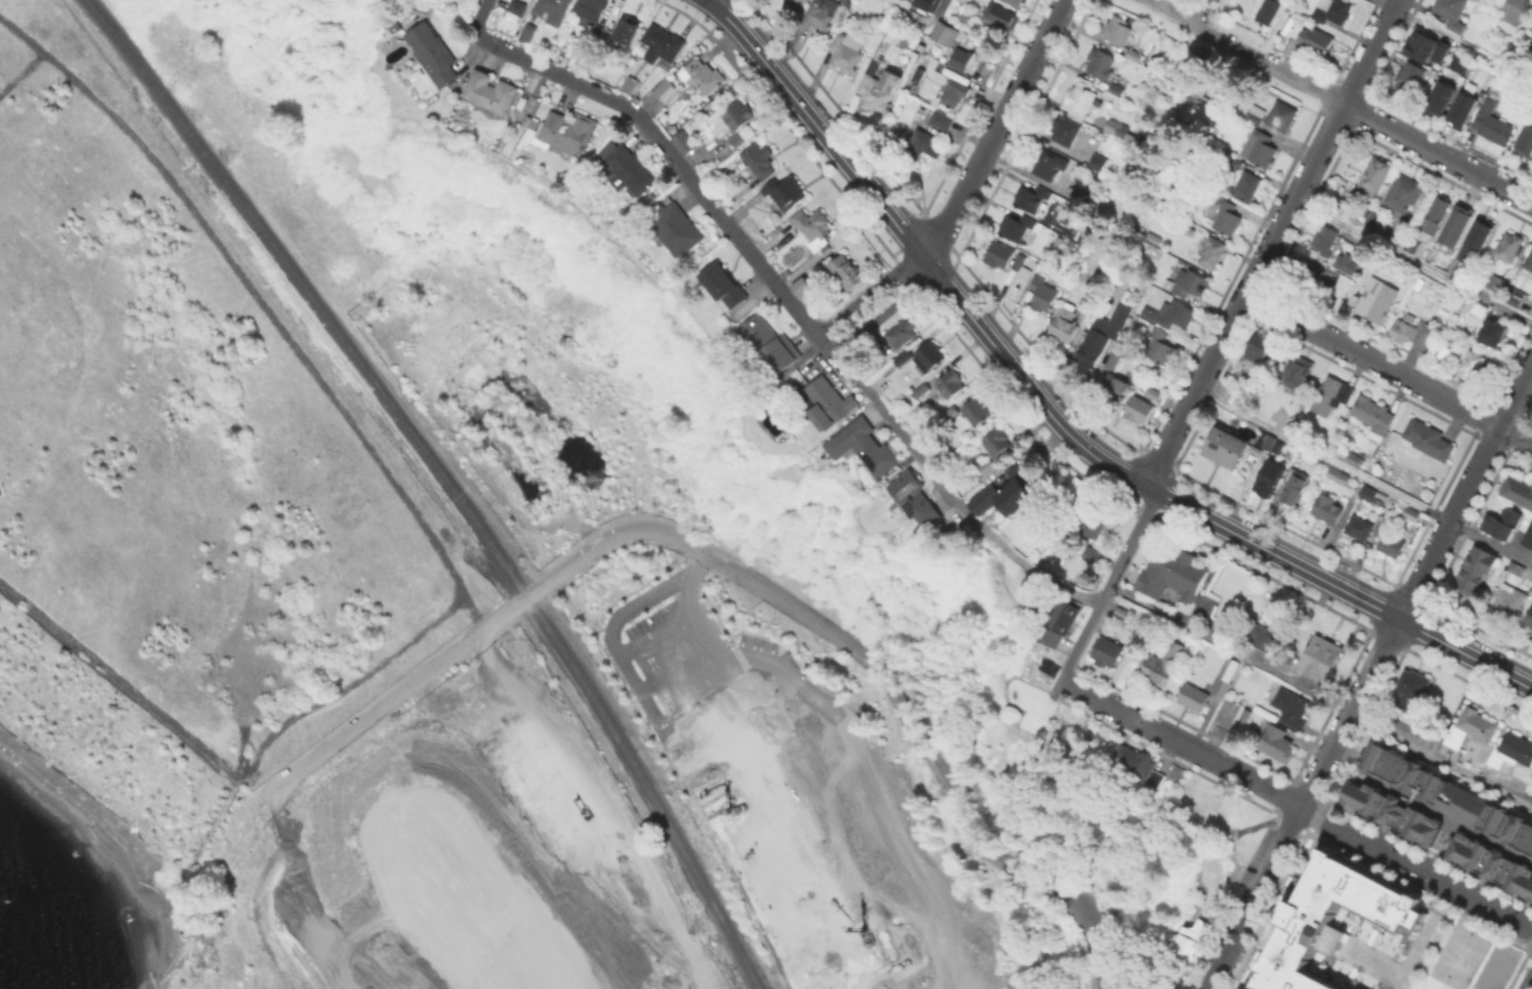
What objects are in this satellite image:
building: (1218, 1)
building: (799, 2)
building: (1018, 2)
building: (923, 3)
building: (518, 7)
building: (1333, 10)
building: (553, 11)
building: (1515, 11)
building: (590, 12)
building: (1269, 12)
building: (1453, 12)
building: (823, 13)
road: (903, 14)
road: (935, 14)
building: (1005, 17)
building: (1118, 29)
road: (1277, 30)
building: (627, 31)
building: (529, 33)
building: (945, 33)
building: (908, 38)
building: (1311, 39)
building: (604, 42)
building: (663, 43)
road: (1463, 44)
building: (1531, 45)
building: (1421, 47)
road: (1245, 51)
building: (848, 52)
building: (433, 54)
building: (1441, 54)
building: (1135, 56)
building: (958, 58)
building: (1101, 62)
building: (1460, 64)
road: (19, 72)
building: (704, 75)
building: (1410, 79)
building: (915, 83)
building: (630, 85)
building: (668, 90)
building: (879, 91)
building: (1117, 91)
building: (492, 92)
building: (956, 94)
building: (1082, 97)
building: (1442, 98)
building: (1464, 110)
building: (1256, 114)
building: (1283, 116)
building: (733, 118)
building: (943, 119)
building: (1493, 125)
building: (1116, 129)
building: (1065, 130)
road: (995, 131)
building: (566, 132)
building: (739, 139)
building: (923, 141)
building: (1526, 141)
building: (684, 142)
building: (1260, 148)
road: (1438, 152)
building: (759, 159)
building: (1234, 162)
building: (1049, 163)
building: (1100, 165)
building: (630, 171)
building: (1374, 178)
building: (1248, 186)
building: (1404, 192)
building: (785, 194)
building: (1034, 197)
building: (1437, 216)
building: (1228, 217)
building: (1376, 217)
building: (1458, 225)
building: (1016, 227)
building: (815, 228)
building: (679, 229)
building: (1326, 238)
building: (1404, 240)
road: (740, 241)
building: (1476, 241)
road: (1270, 243)
building: (1413, 246)
building: (1510, 247)
building: (1214, 253)
building: (1000, 255)
building: (1016, 260)
road: (1413, 260)
building: (1347, 264)
building: (1528, 265)
building: (845, 271)
building: (1308, 276)
building: (805, 280)
building: (1188, 282)
building: (1497, 284)
building: (724, 286)
road: (318, 292)
road: (867, 292)
building: (1044, 295)
building: (1515, 297)
building: (1377, 300)
building: (1466, 305)
road: (265, 306)
road: (885, 311)
building: (1171, 314)
building: (1086, 316)
building: (1064, 323)
building: (1412, 331)
building: (903, 332)
building: (1493, 332)
building: (1103, 336)
building: (769, 343)
building: (1259, 347)
building: (1161, 348)
building: (931, 354)
building: (1113, 360)
building: (1473, 366)
road: (1388, 369)
building: (1297, 372)
building: (950, 384)
building: (1115, 388)
building: (1332, 395)
building: (829, 402)
building: (1142, 405)
building: (976, 411)
building: (950, 412)
building: (1374, 416)
road: (1055, 420)
building: (1265, 440)
building: (996, 441)
building: (1428, 441)
building: (864, 447)
building: (1226, 448)
building: (987, 466)
building: (1338, 475)
road: (1363, 476)
railway: (445, 479)
building: (1268, 482)
building: (1293, 486)
building: (1517, 490)
building: (1369, 493)
building: (1007, 494)
building: (916, 499)
building: (1328, 509)
building: (1412, 513)
building: (1094, 523)
building: (1503, 523)
building: (1360, 528)
building: (1527, 535)
building: (1392, 544)
building: (1091, 554)
building: (1473, 568)
building: (1517, 568)
road: (1039, 573)
building: (1173, 575)
road: (1108, 586)
road: (1415, 586)
building: (1509, 600)
building: (1123, 613)
road: (504, 614)
building: (1527, 614)
building: (1059, 622)
road: (659, 629)
building: (1262, 637)
building: (1108, 652)
building: (1322, 658)
building: (1285, 659)
road: (679, 664)
road: (876, 664)
building: (1162, 664)
road: (627, 667)
building: (1226, 675)
road: (782, 680)
parking lot: (714, 682)
building: (1411, 688)
road: (1320, 695)
building: (1194, 697)
road: (700, 698)
building: (1292, 708)
road: (374, 714)
building: (1246, 714)
building: (1472, 730)
road: (723, 738)
road: (1180, 742)
building: (1277, 743)
building: (1512, 753)
building: (1136, 763)
road: (800, 766)
road: (232, 768)
road: (638, 792)
road: (611, 798)
building: (1444, 814)
road: (1414, 871)
road: (1442, 897)
road: (1251, 898)
building: (1325, 921)
road: (1441, 923)
road: (1488, 931)
building: (1195, 938)
road: (1431, 942)
road: (1415, 950)
park: (1459, 956)
park: (1459, 956)
road: (1371, 960)
park: (1496, 968)
road: (1530, 986)

